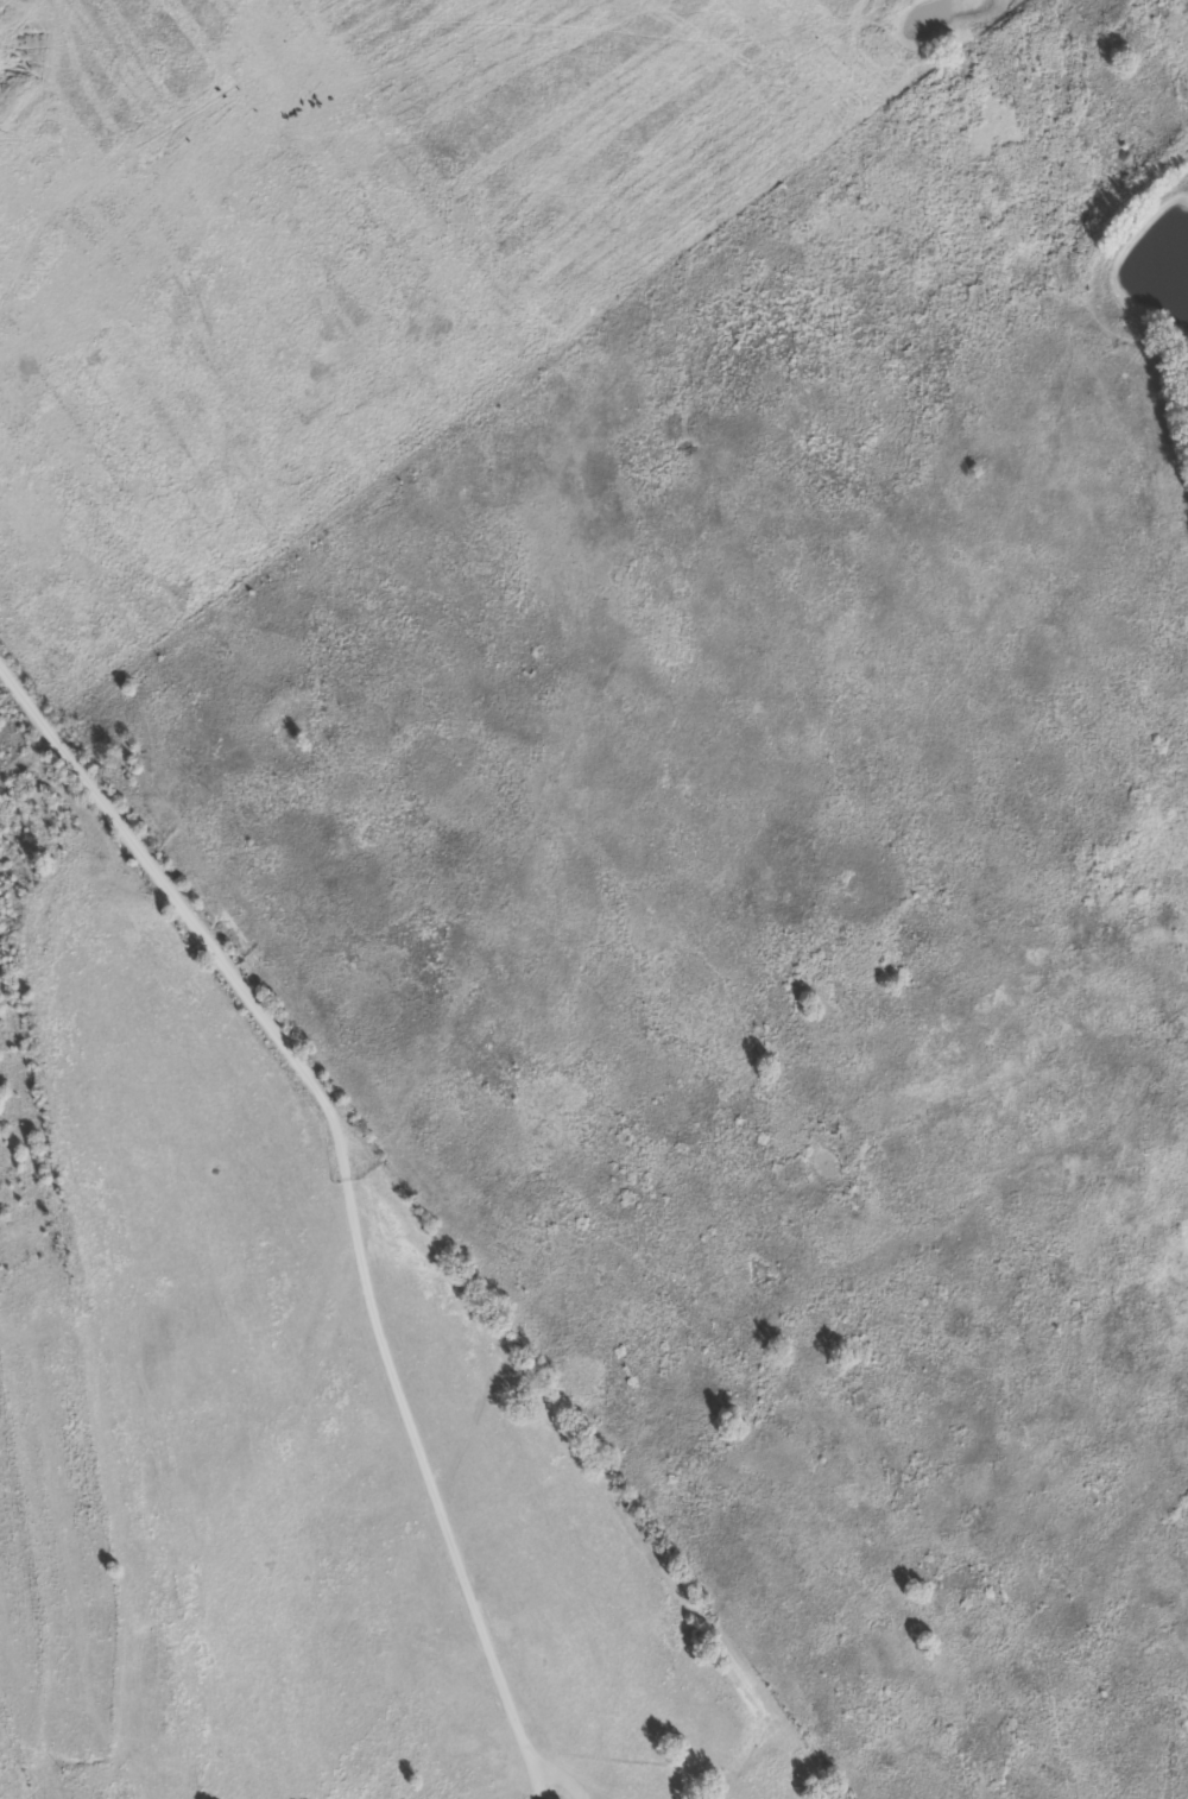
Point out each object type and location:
road: (181, 915)

